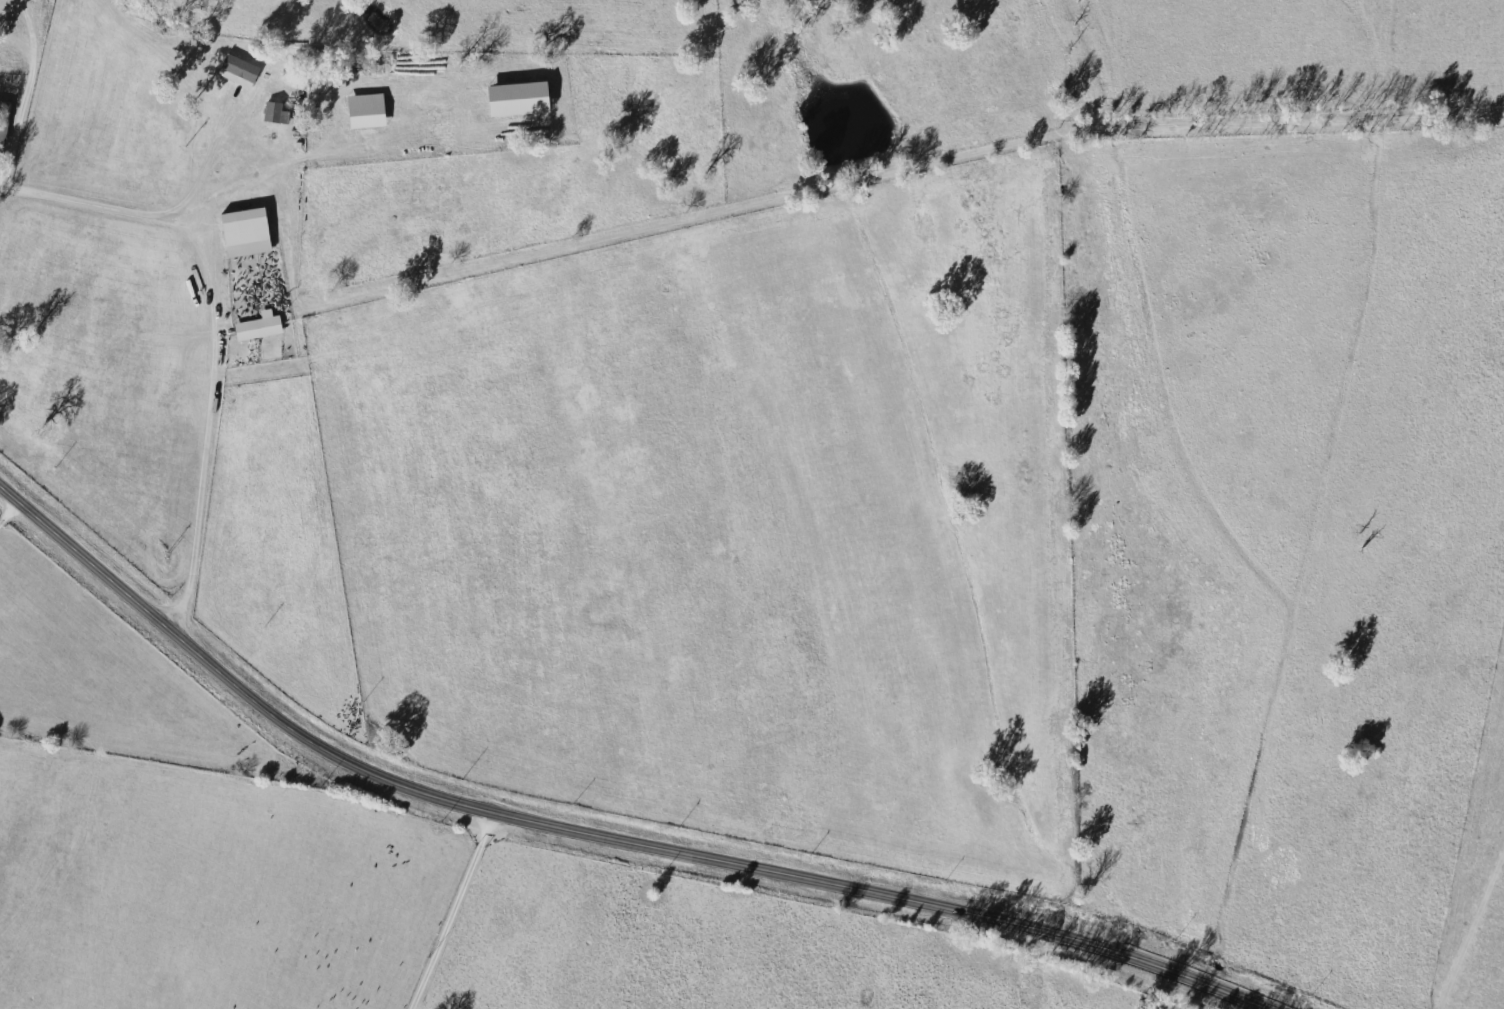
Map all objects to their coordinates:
building: (243, 71)
building: (525, 98)
building: (371, 110)
building: (279, 112)
road: (116, 212)
building: (251, 231)
building: (263, 326)
road: (591, 833)

